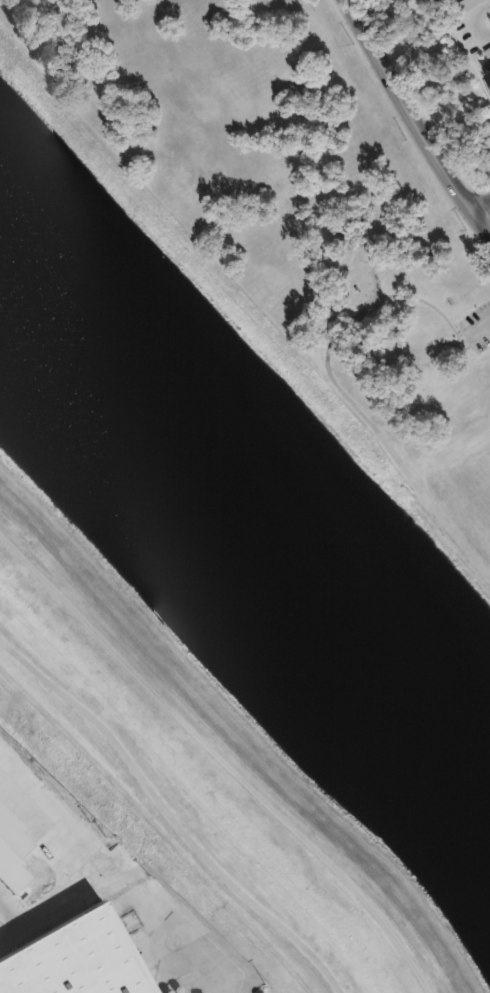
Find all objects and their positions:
building: (429, 0)
building: (469, 31)
building: (489, 75)
road: (415, 116)
road: (482, 203)
park: (292, 218)
parking lot: (477, 325)
road: (476, 328)
road: (343, 394)
river: (250, 497)
road: (221, 754)
road: (169, 815)
road: (135, 882)
building: (83, 958)

